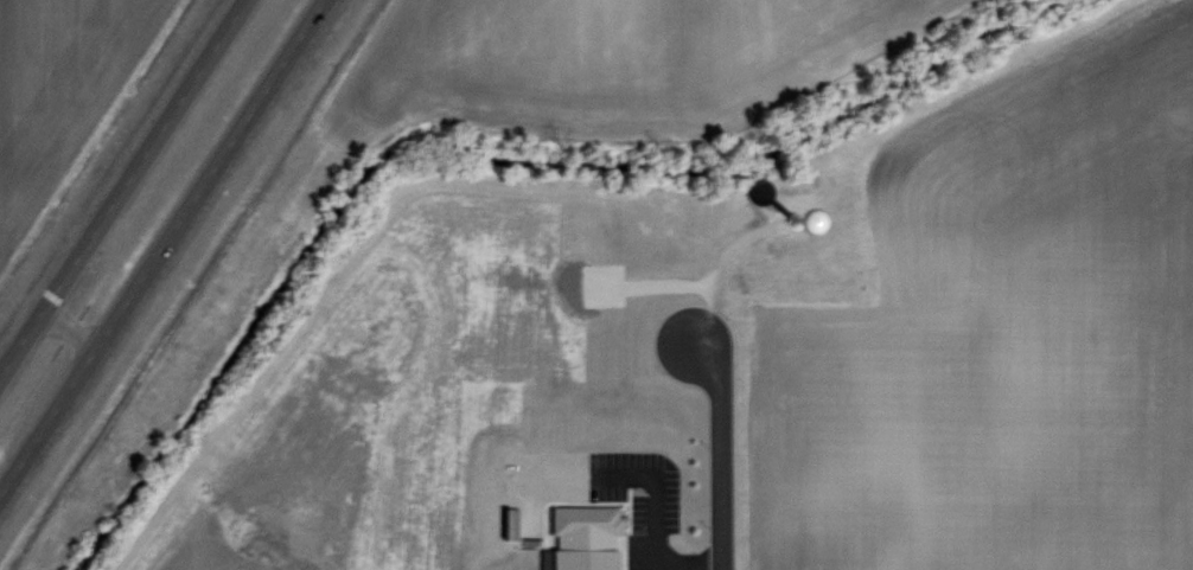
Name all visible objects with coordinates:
crop: (57, 87)
road: (117, 181)
water tower: (790, 218)
road: (174, 267)
road: (77, 331)
road: (725, 455)
building: (580, 538)

